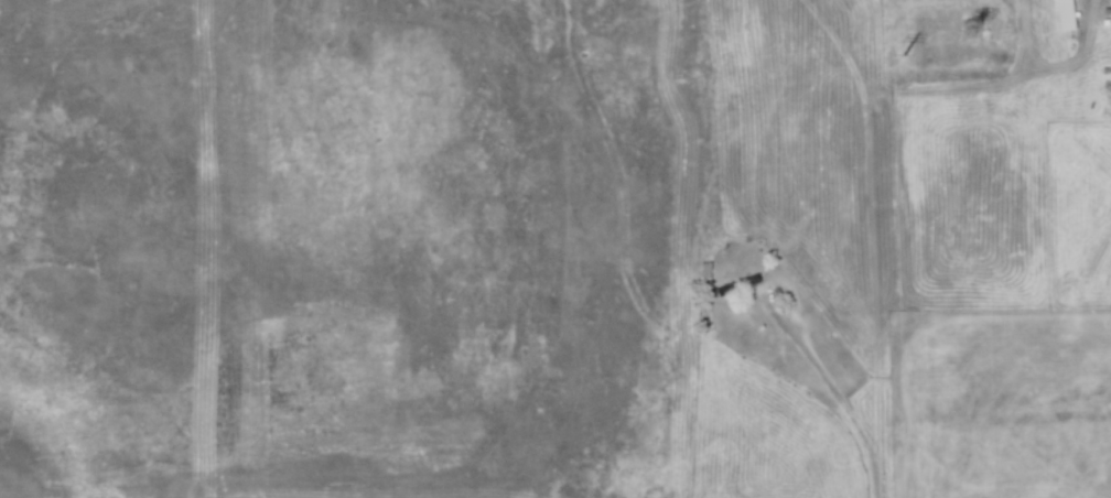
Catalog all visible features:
building: (1063, 14)
power tower: (973, 32)
road: (832, 392)

